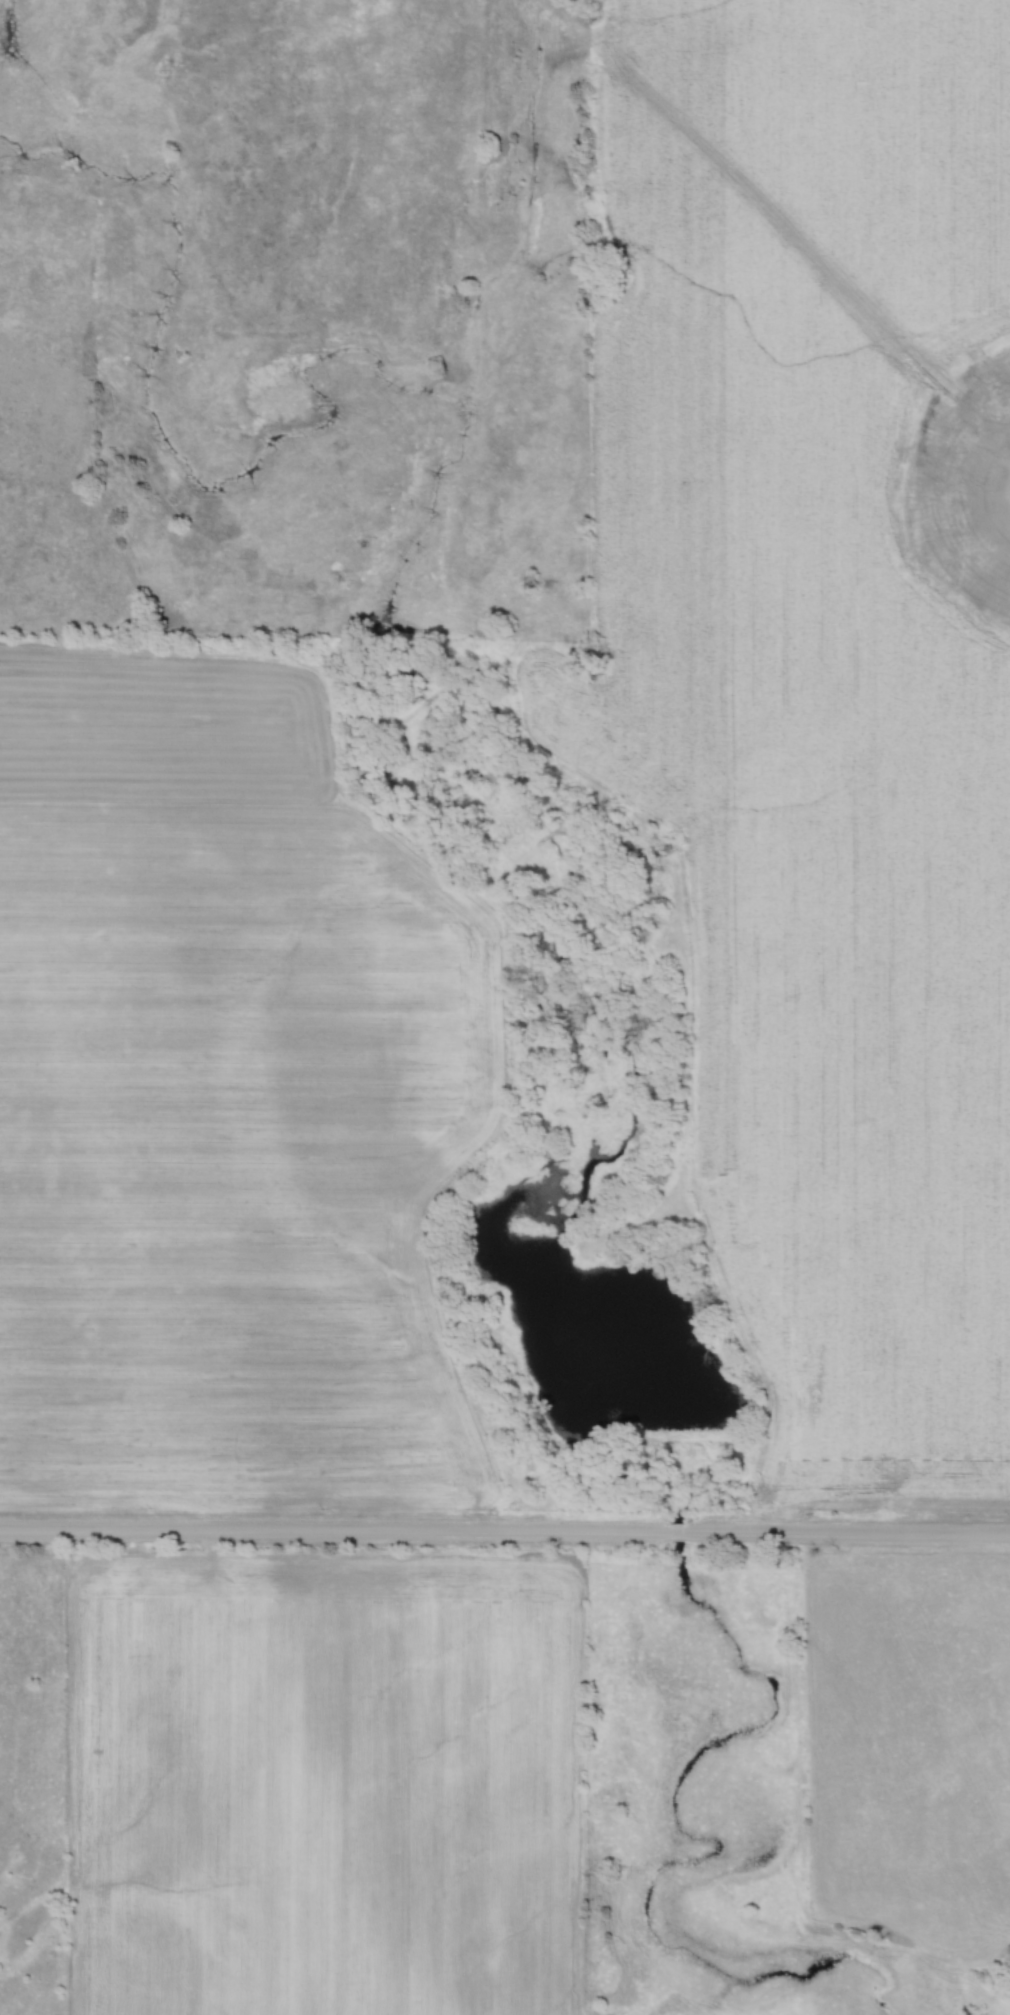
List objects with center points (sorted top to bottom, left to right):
road: (505, 1532)

